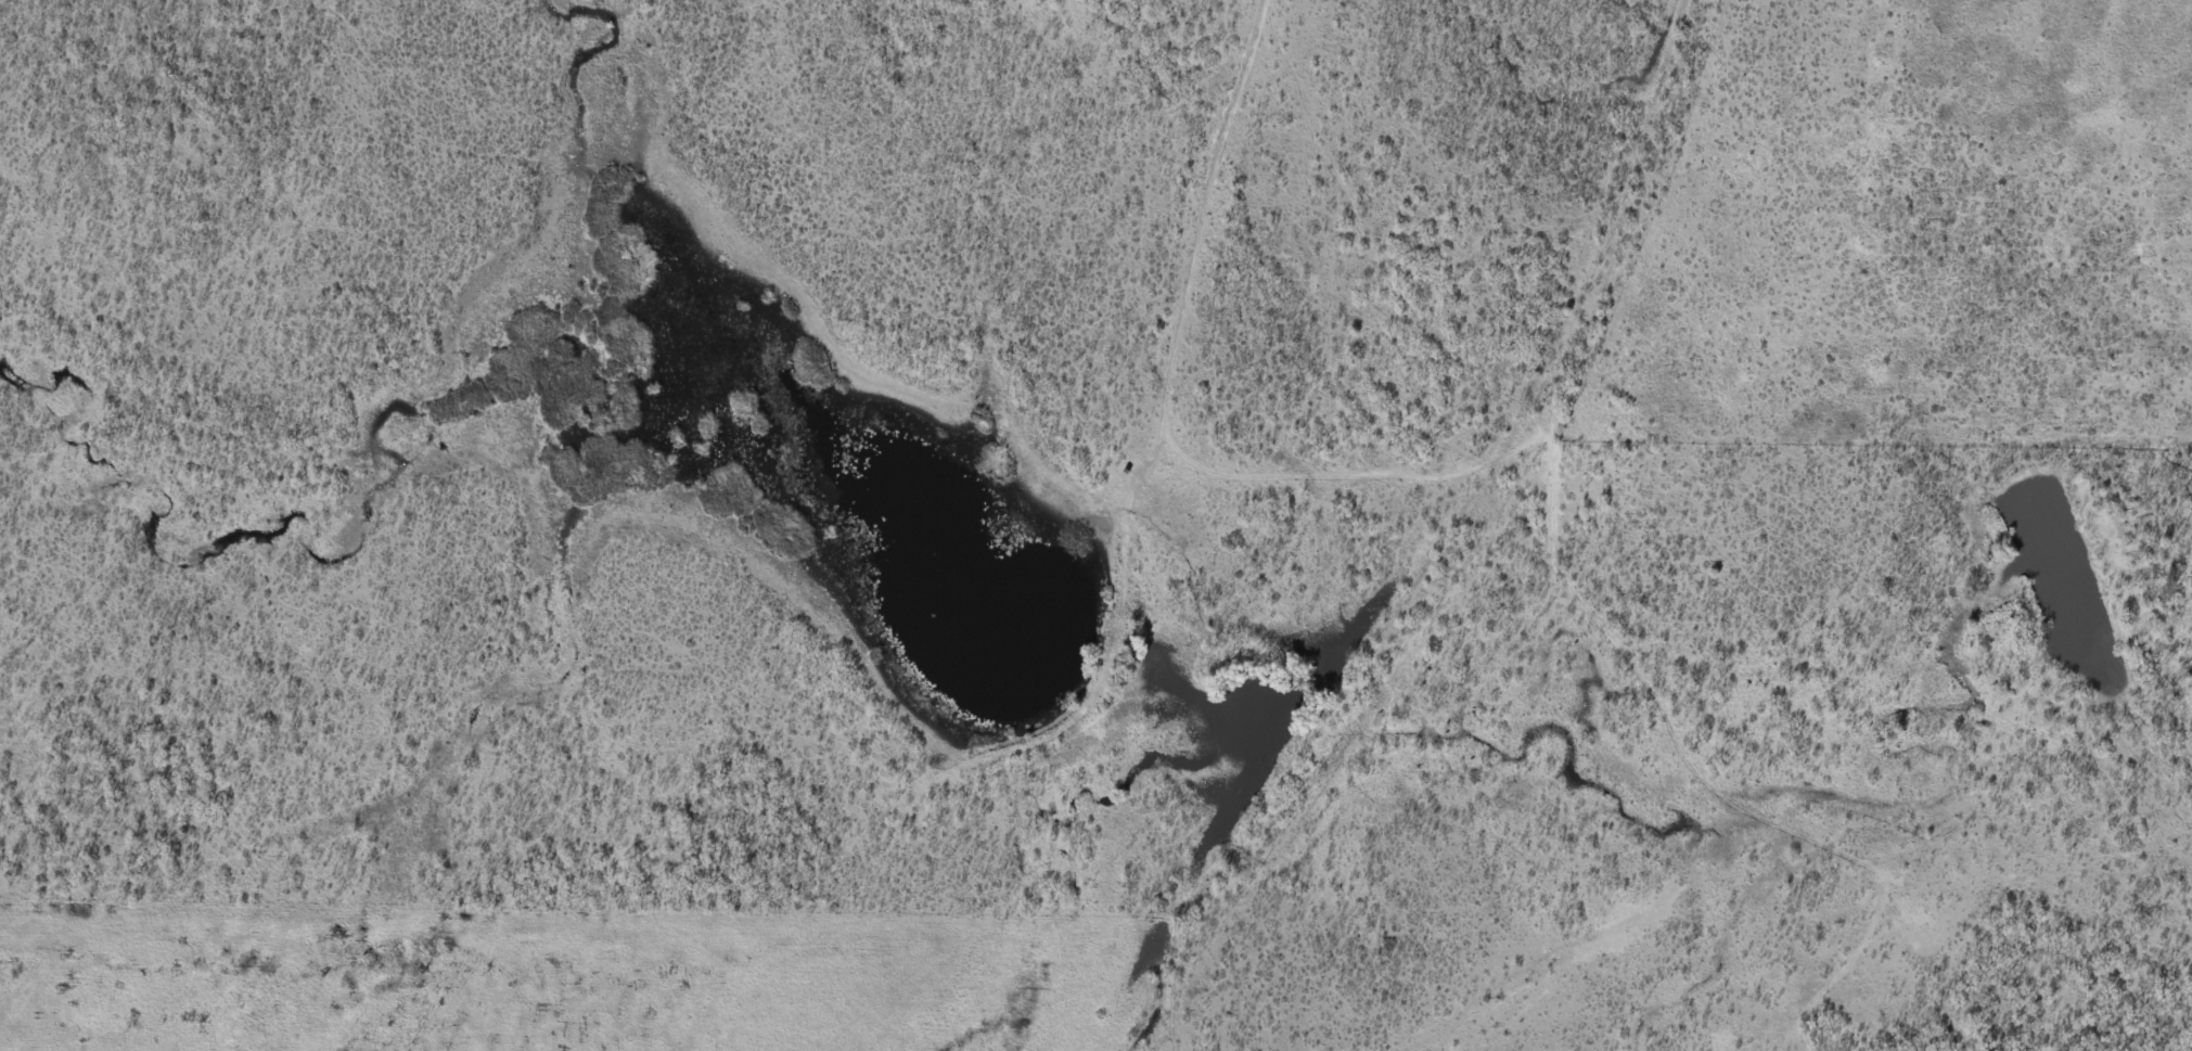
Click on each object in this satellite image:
road: (1120, 246)

